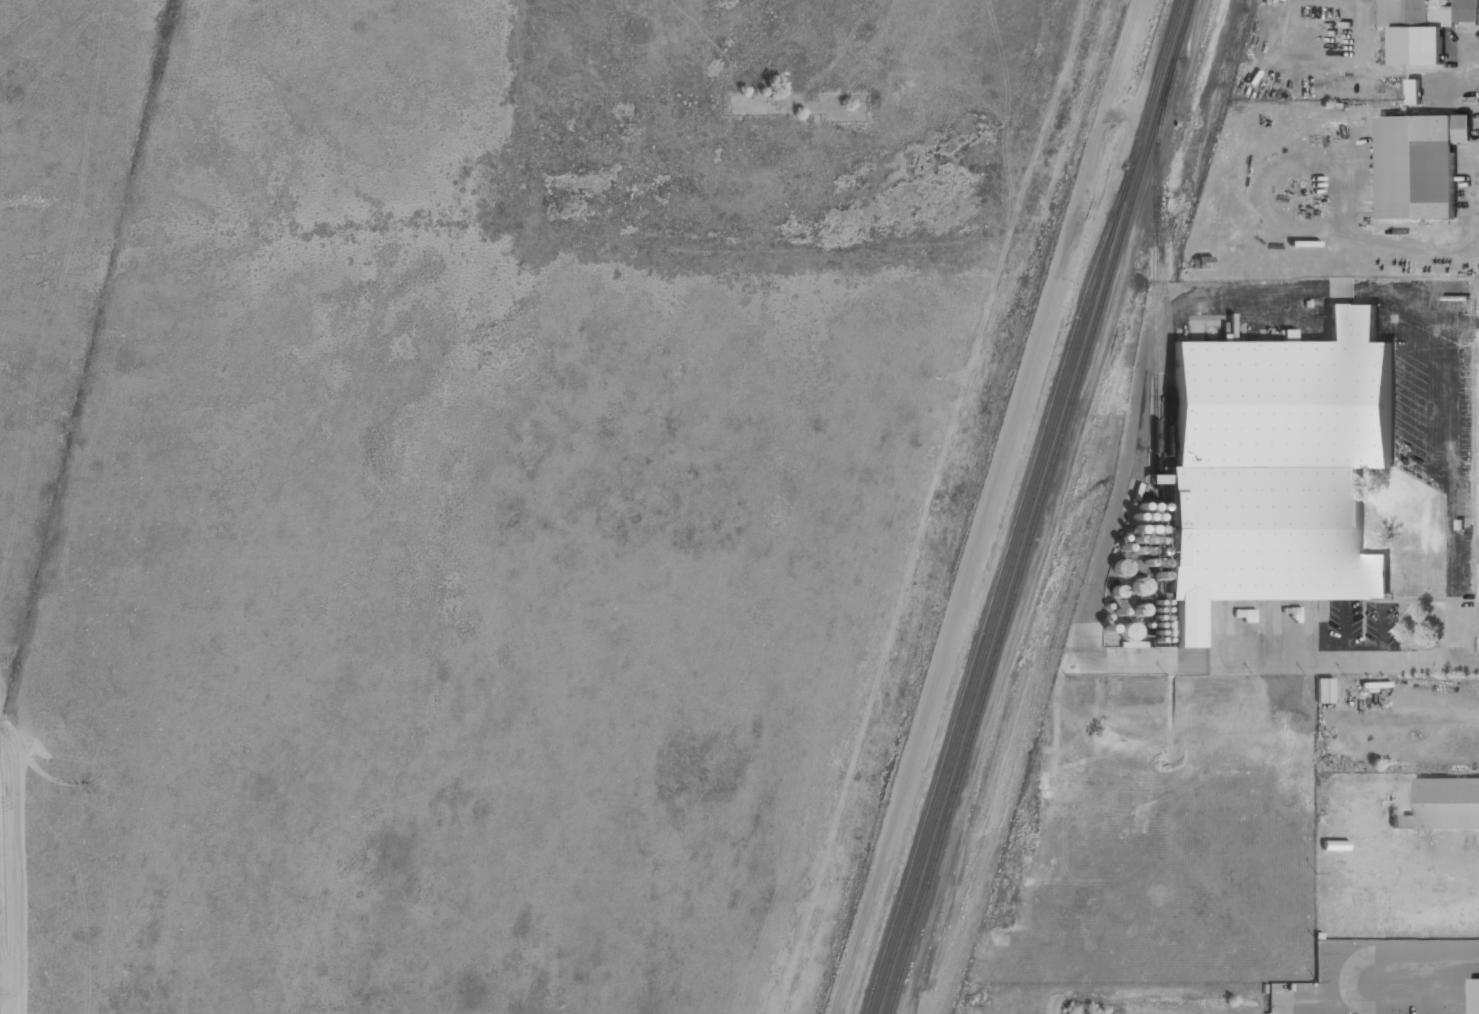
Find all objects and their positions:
building: (1421, 27)
building: (1413, 93)
building: (1418, 165)
building: (1201, 263)
building: (1276, 467)
railway: (1028, 506)
railway: (1040, 507)
railway: (992, 597)
building: (1129, 631)
building: (1324, 691)
road: (17, 697)
building: (1443, 804)
building: (1474, 996)

